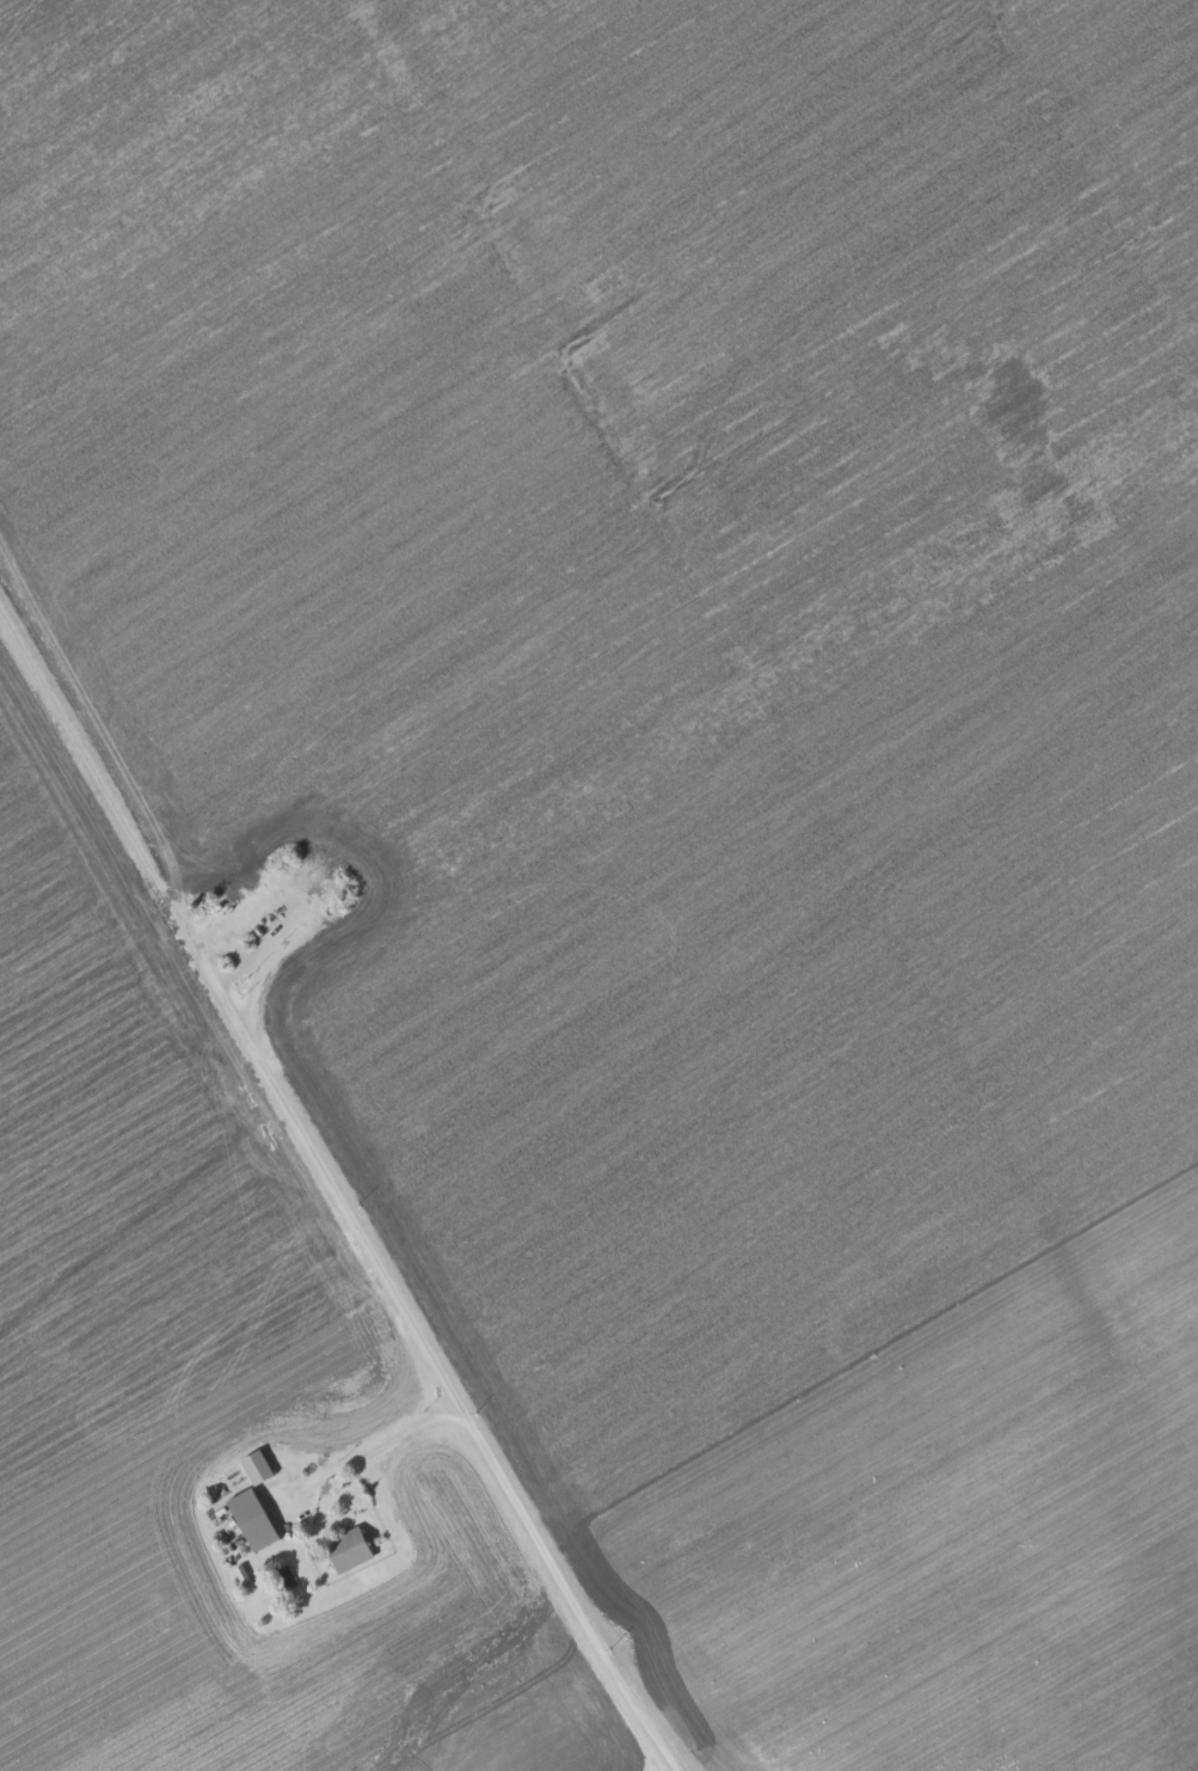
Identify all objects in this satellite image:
road: (259, 949)
road: (234, 1013)
building: (258, 1465)
road: (516, 1499)
building: (253, 1518)
building: (349, 1548)

